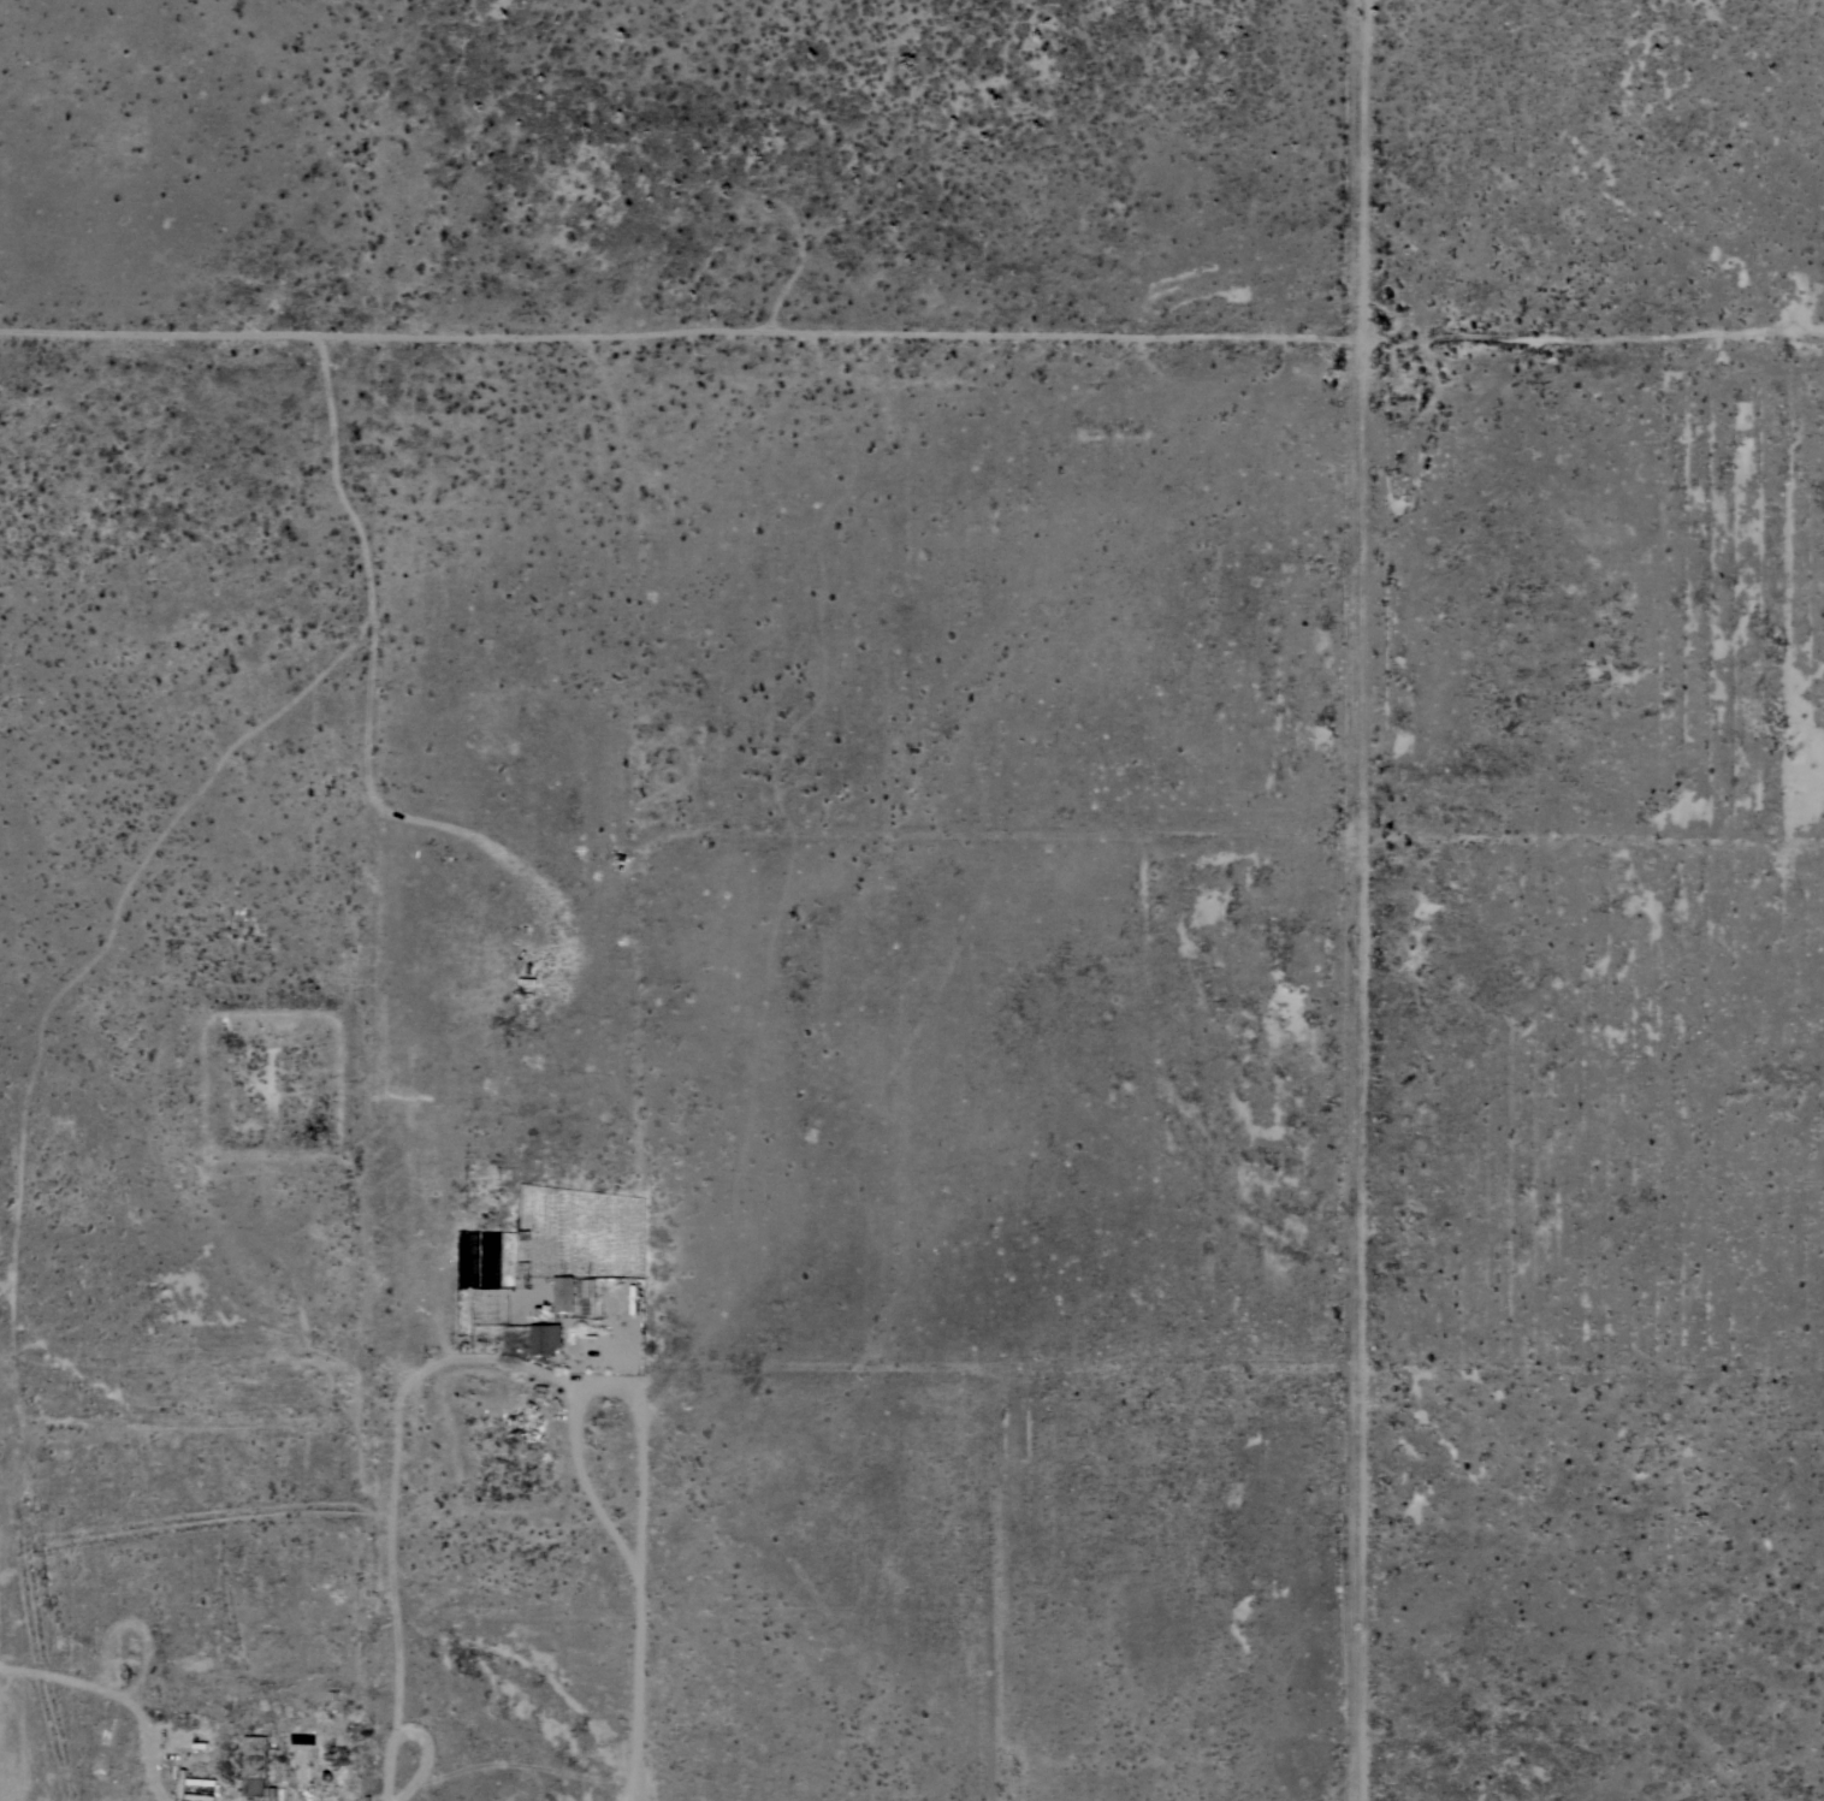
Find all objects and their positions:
building: (563, 1292)
building: (632, 1298)
building: (544, 1338)
road: (591, 1386)
road: (392, 1462)
road: (632, 1684)
road: (407, 1732)
building: (255, 1765)
building: (200, 1781)
building: (180, 1782)
building: (199, 1796)

